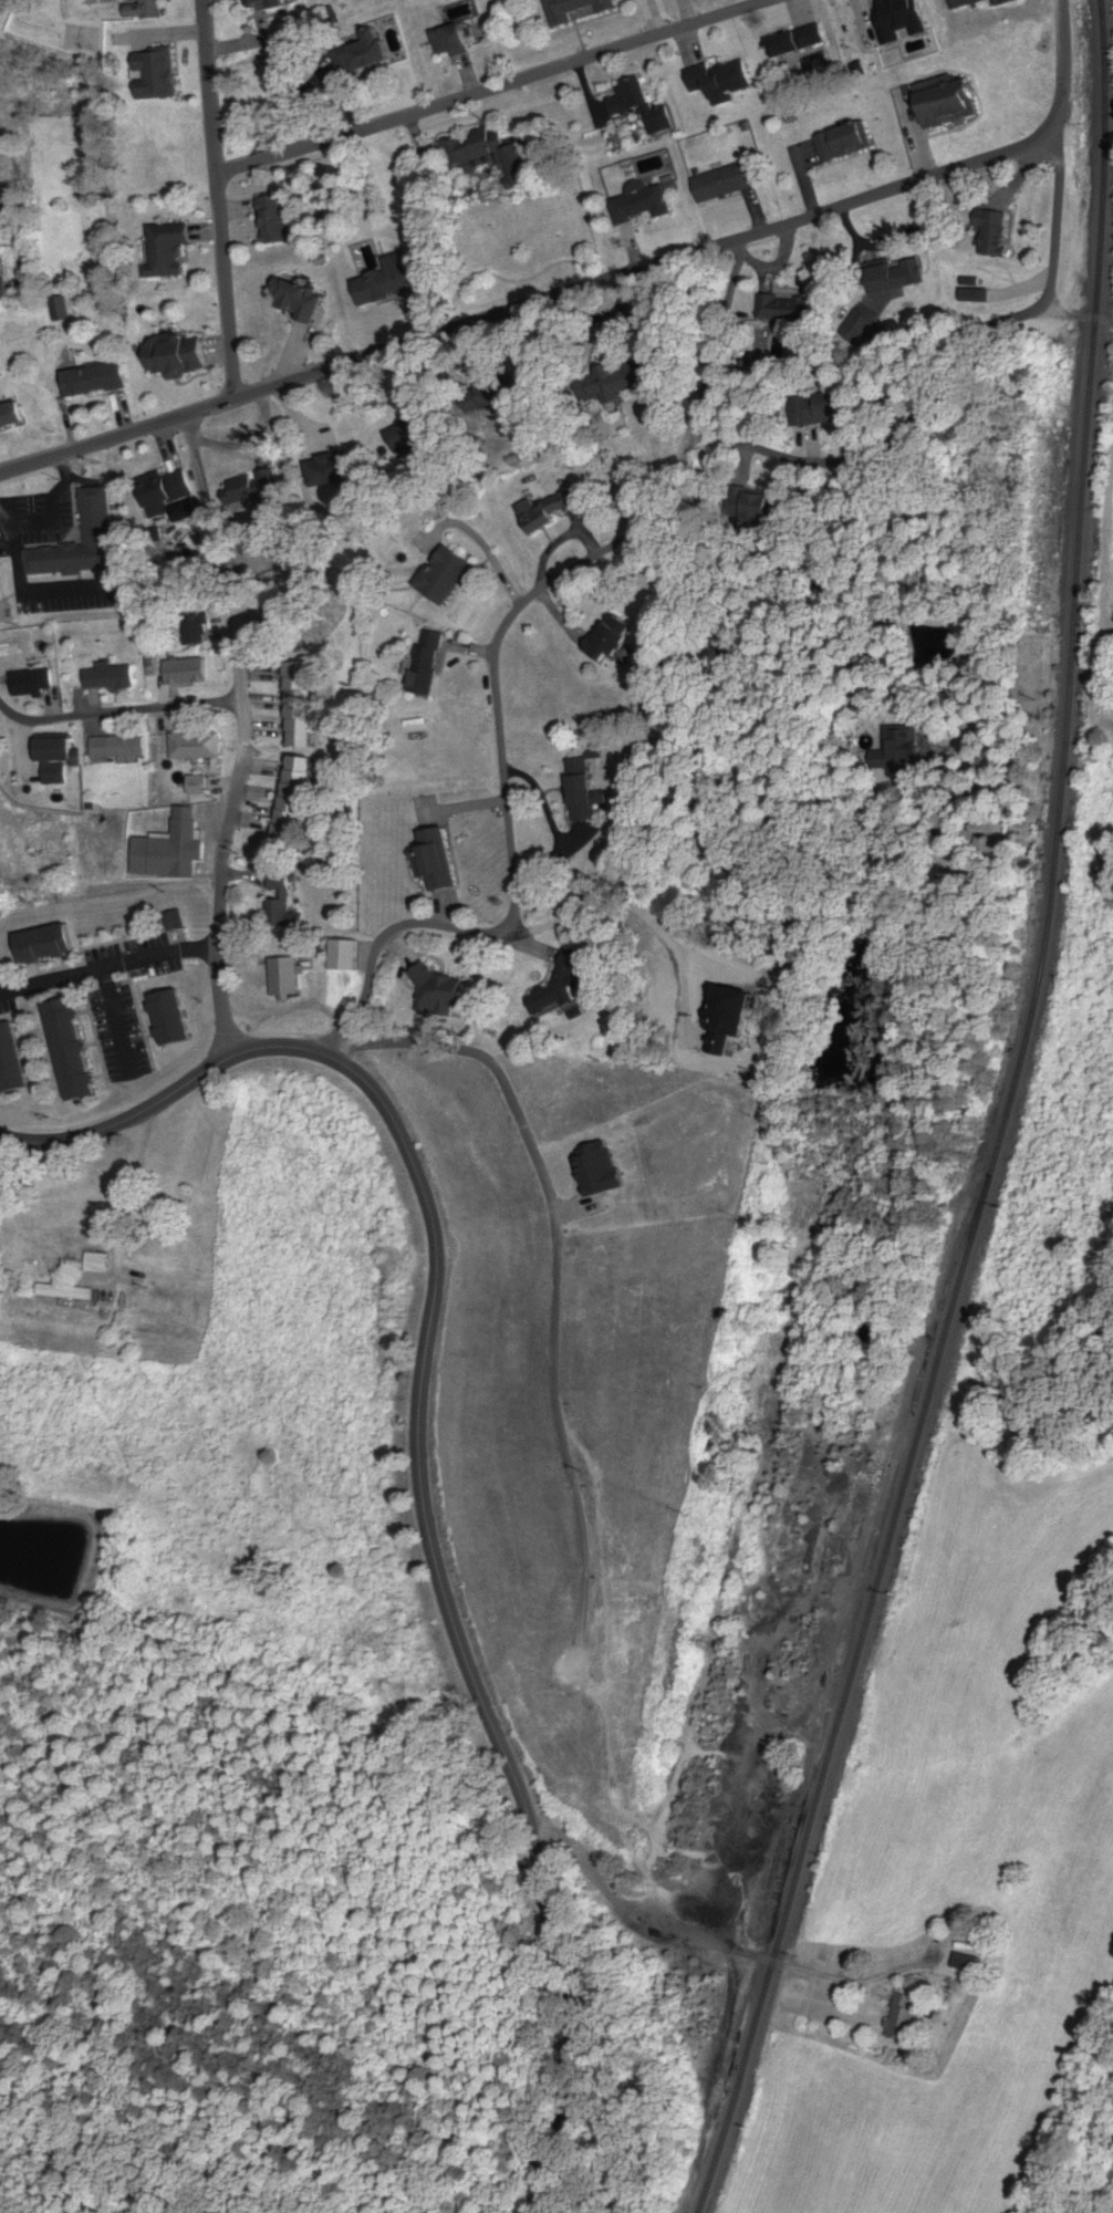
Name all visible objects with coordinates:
building: (266, 3)
building: (975, 3)
building: (146, 9)
building: (575, 11)
building: (454, 40)
building: (799, 42)
building: (371, 52)
road: (1061, 65)
building: (721, 81)
road: (492, 91)
building: (632, 98)
building: (950, 101)
road: (915, 135)
building: (845, 143)
building: (486, 144)
building: (725, 183)
road: (219, 200)
building: (643, 204)
road: (1057, 217)
building: (269, 220)
building: (996, 236)
building: (169, 250)
building: (2, 279)
building: (386, 281)
building: (294, 299)
road: (527, 307)
building: (60, 309)
road: (1027, 315)
road: (1076, 319)
road: (1057, 337)
building: (178, 356)
building: (95, 380)
building: (836, 408)
building: (11, 416)
road: (188, 429)
building: (405, 435)
road: (876, 450)
building: (329, 470)
building: (167, 487)
building: (251, 487)
building: (552, 510)
building: (97, 516)
road: (1104, 559)
road: (586, 562)
building: (447, 574)
building: (195, 627)
building: (607, 641)
building: (429, 662)
building: (189, 671)
building: (113, 676)
building: (35, 680)
building: (303, 703)
road: (117, 713)
building: (197, 745)
building: (119, 746)
road: (241, 750)
building: (60, 761)
building: (198, 785)
building: (297, 798)
building: (585, 798)
building: (170, 849)
building: (434, 862)
building: (280, 904)
road: (396, 931)
building: (49, 944)
road: (108, 972)
building: (287, 978)
building: (555, 997)
road: (287, 1008)
building: (171, 1018)
building: (73, 1050)
building: (11, 1060)
railway: (988, 1123)
road: (14, 1144)
road: (125, 1207)
building: (100, 1263)
building: (162, 1264)
building: (67, 1292)
road: (419, 1455)
road: (717, 1940)
building: (903, 2015)

